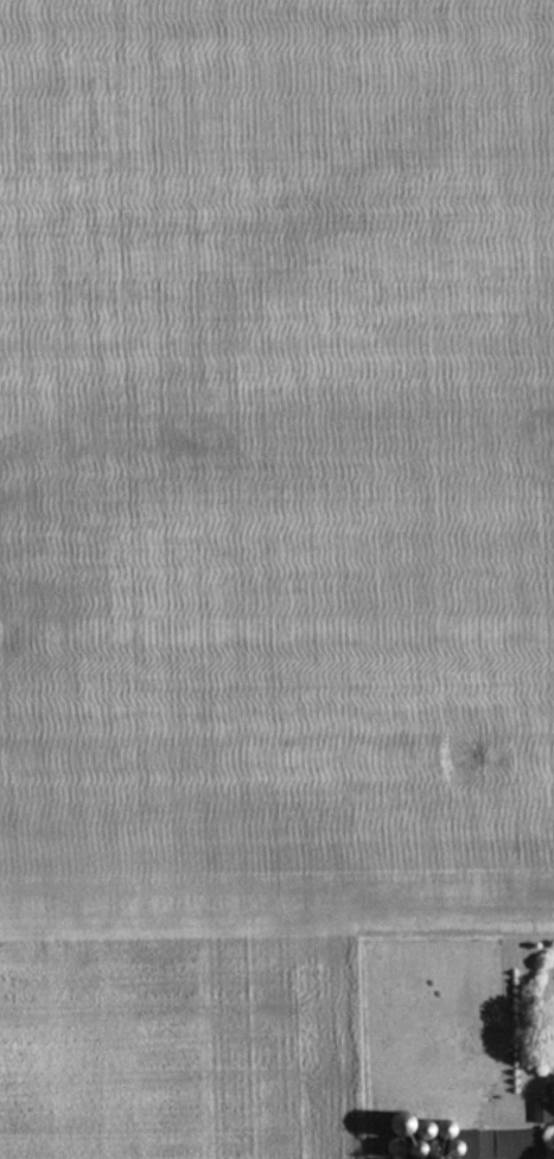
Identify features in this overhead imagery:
crop: (262, 542)

